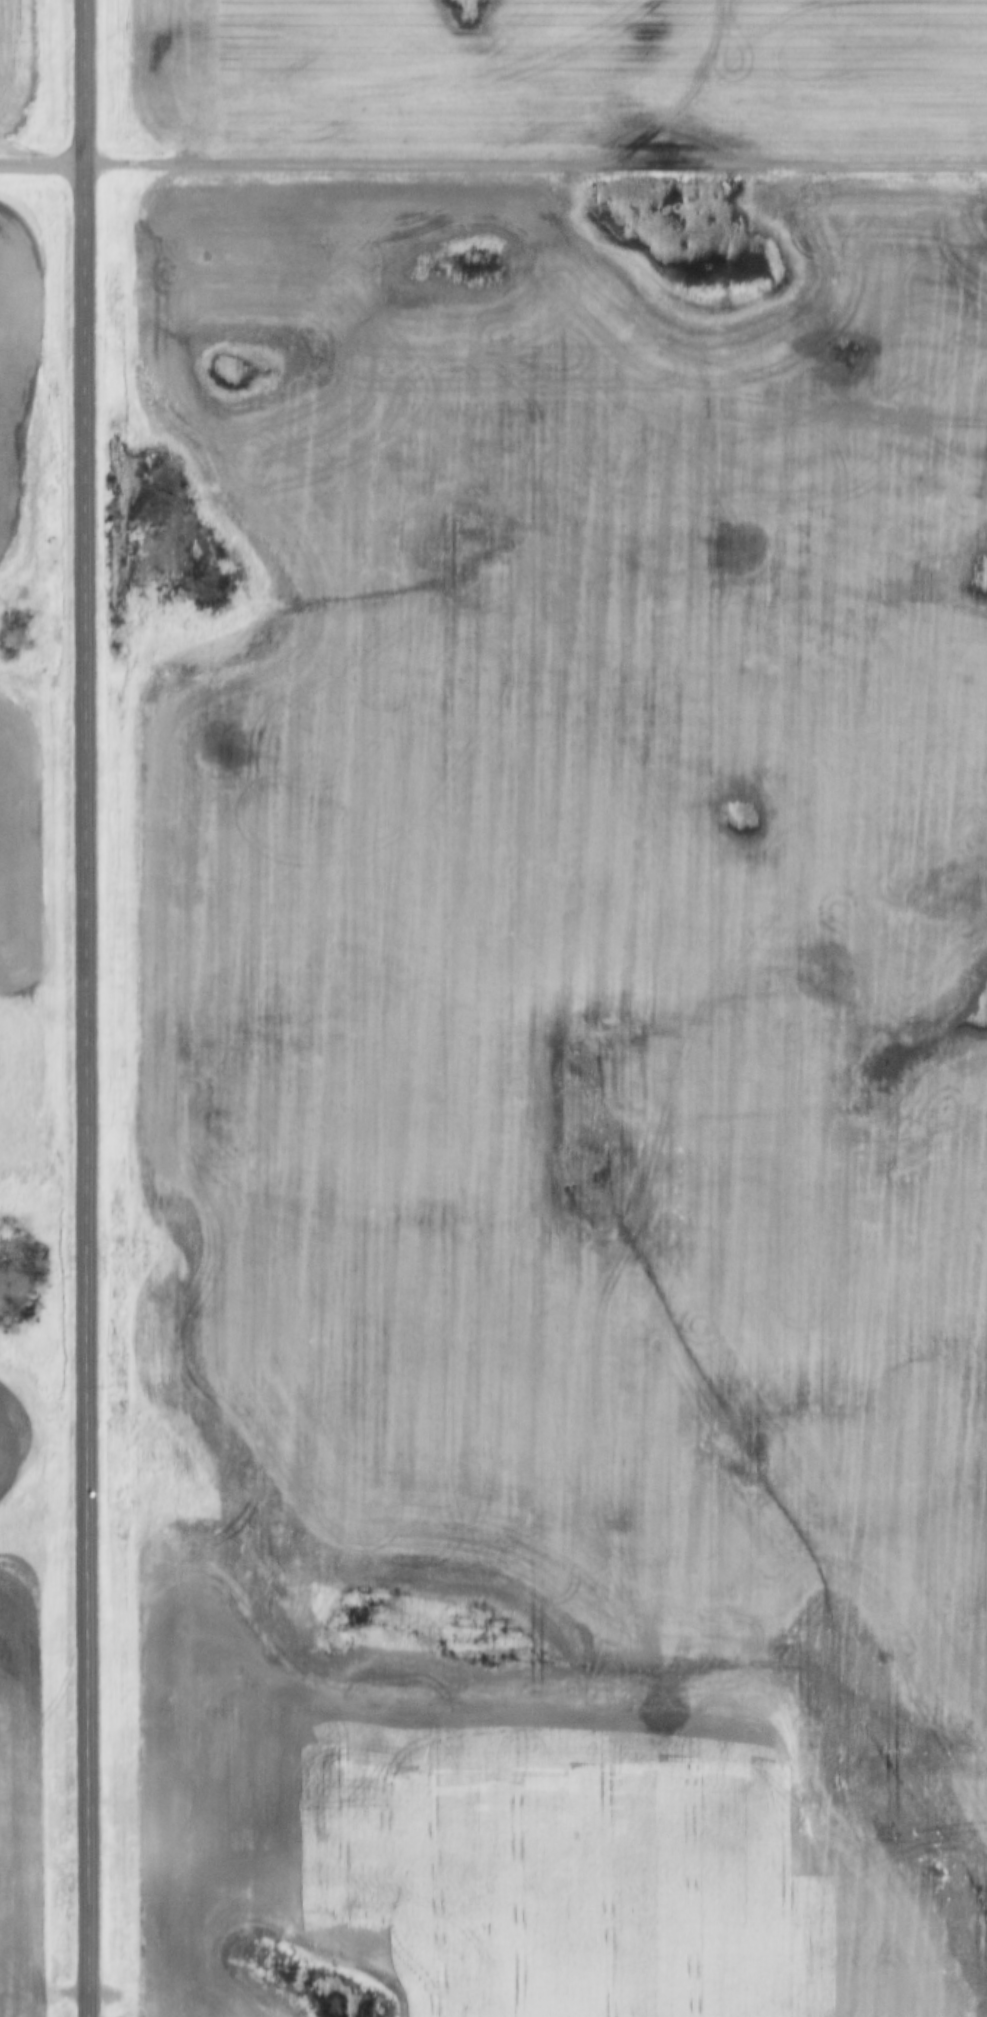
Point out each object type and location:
road: (42, 168)
road: (86, 1008)

